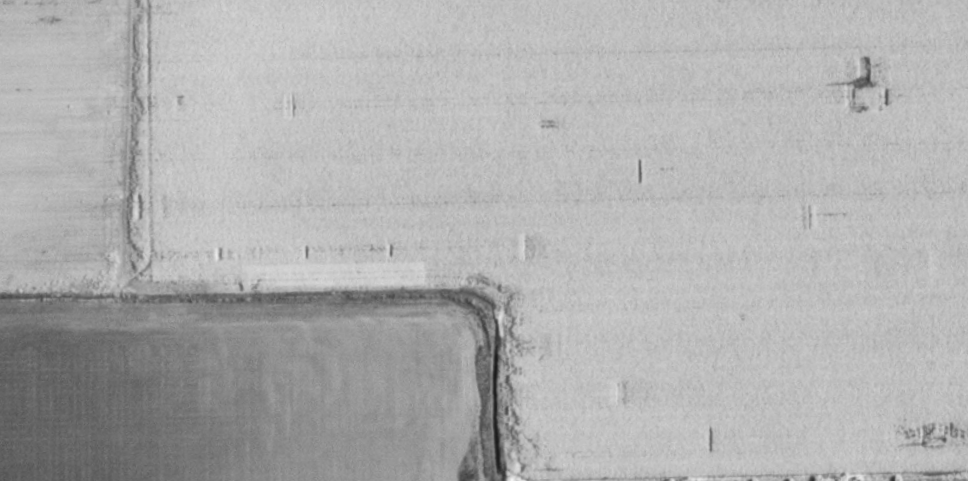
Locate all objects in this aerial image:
power tower: (859, 80)
power tower: (933, 440)

